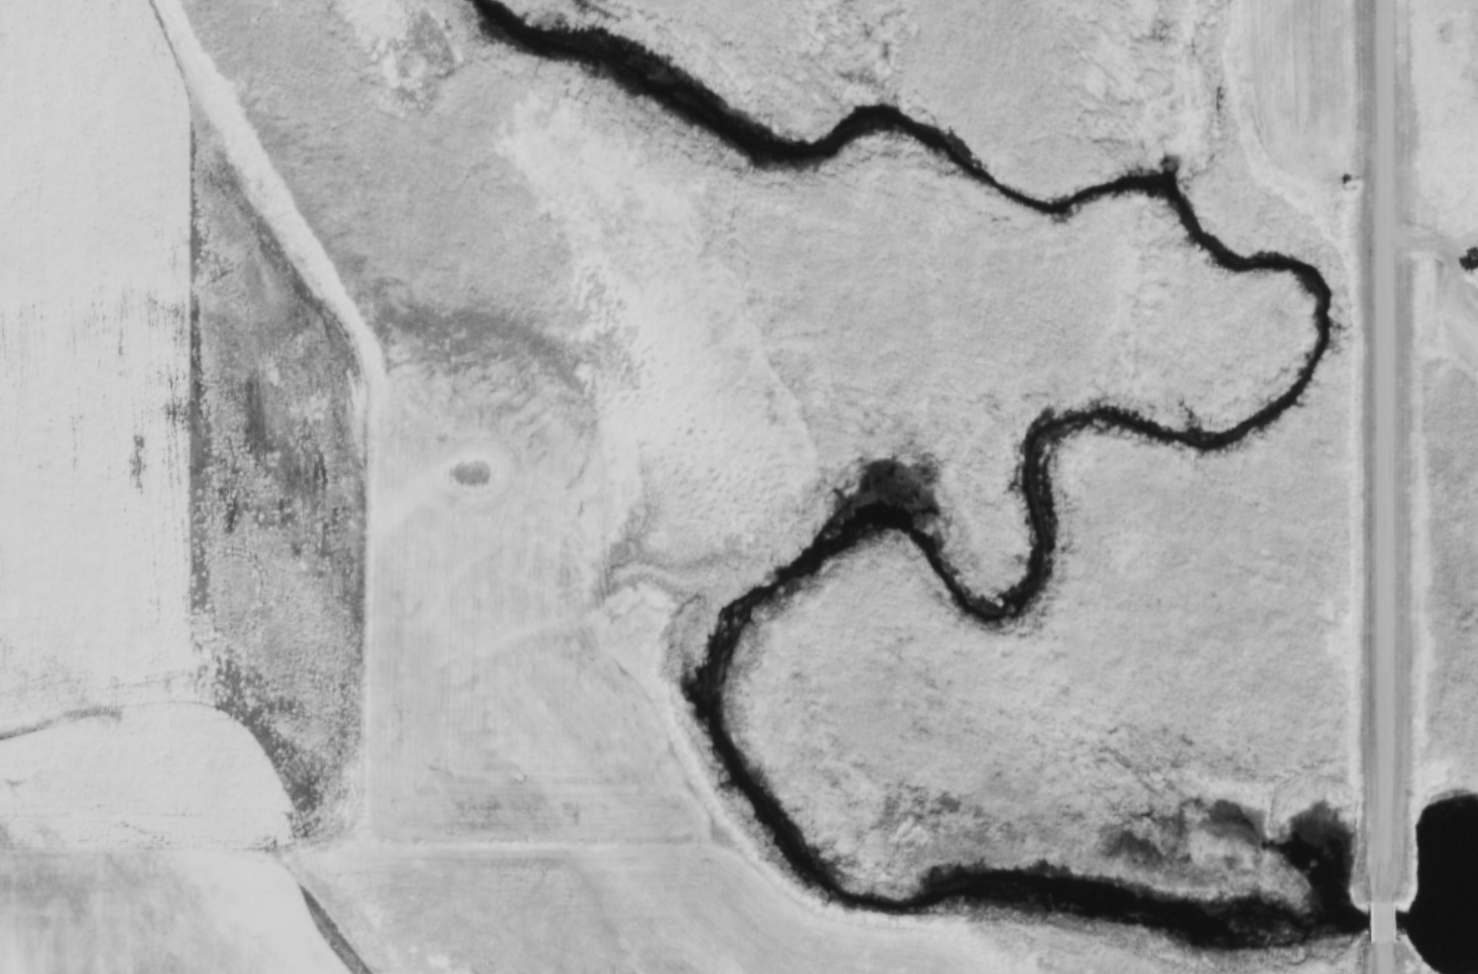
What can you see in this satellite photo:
river: (1007, 427)
road: (1384, 447)
road: (1385, 916)
road: (1385, 956)

